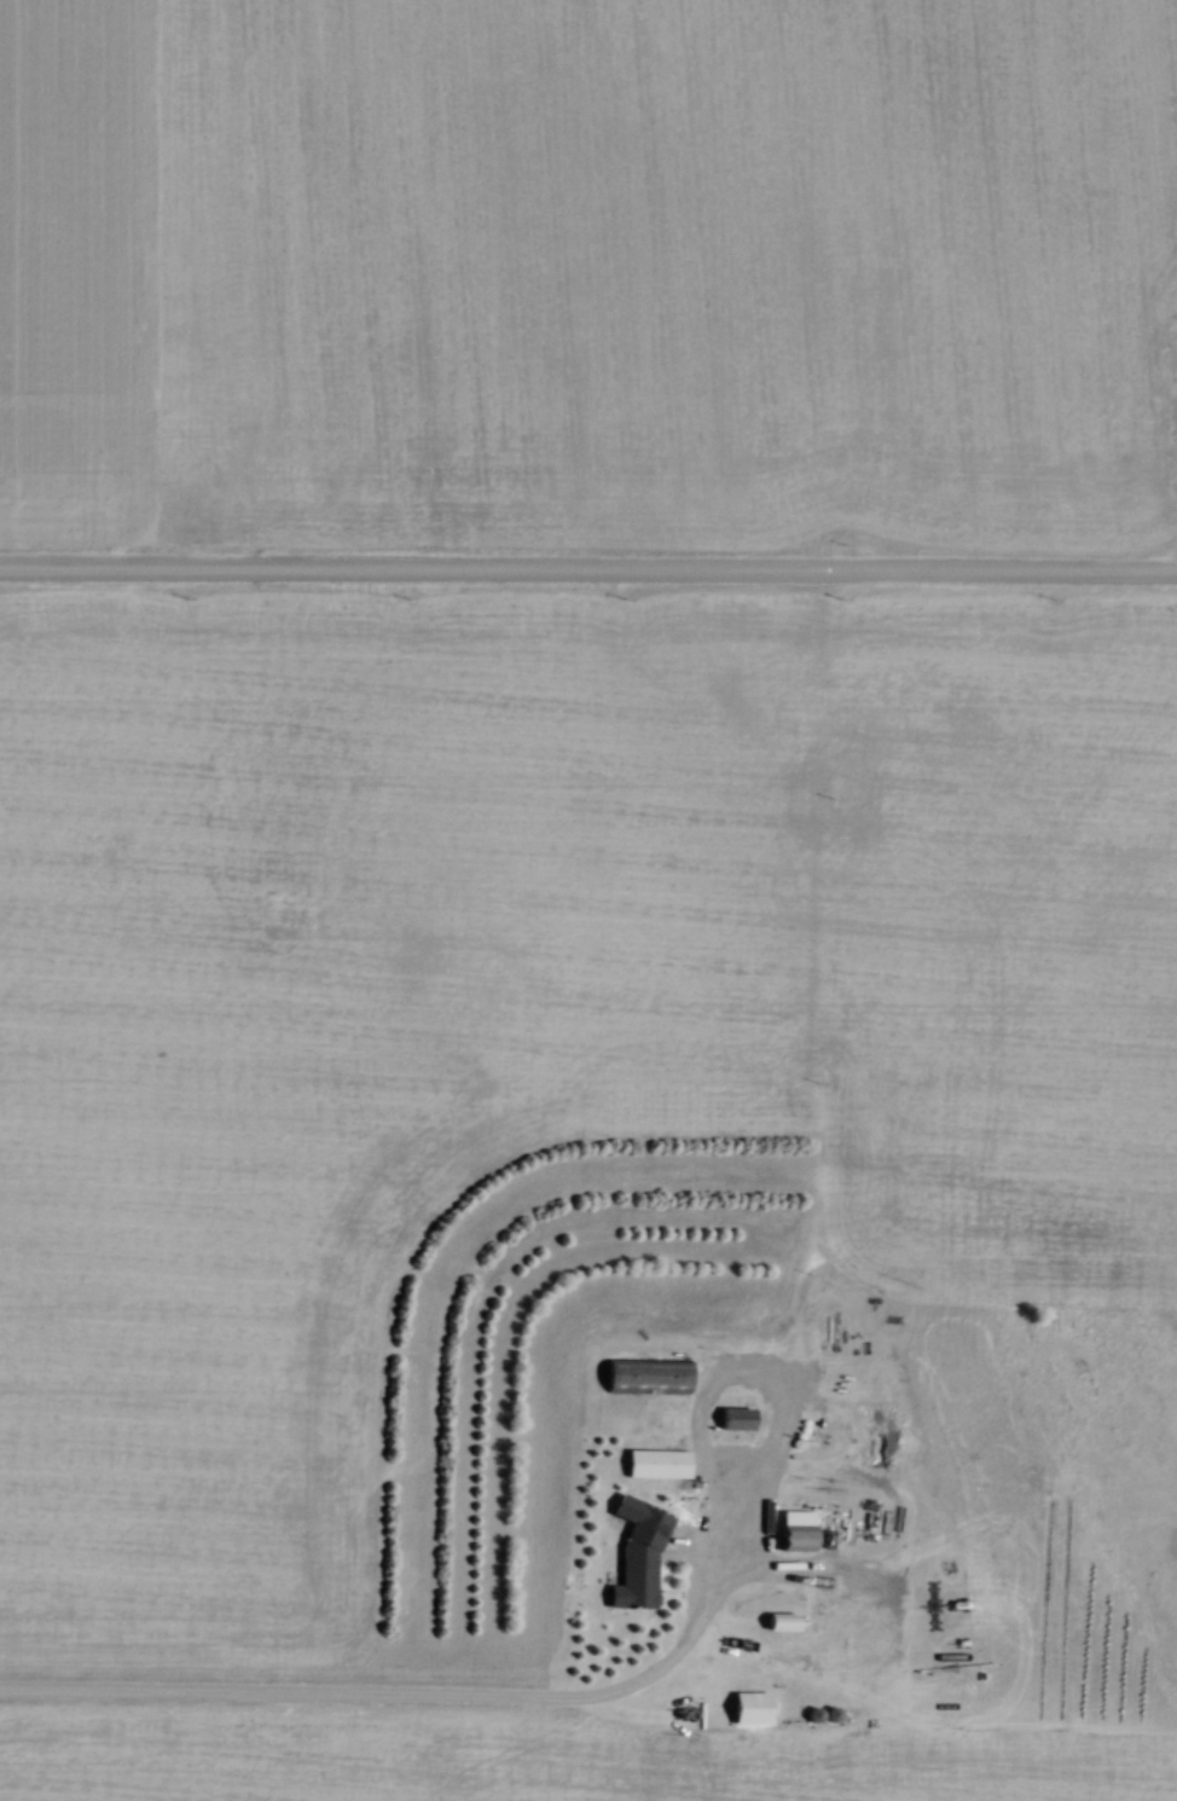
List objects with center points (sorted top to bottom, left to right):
crop: (596, 267)
road: (588, 567)
crop: (578, 1112)
building: (649, 1376)
road: (787, 1413)
building: (737, 1417)
building: (659, 1461)
building: (799, 1527)
building: (634, 1579)
building: (782, 1617)
road: (422, 1695)
building: (750, 1706)
silo: (834, 1712)
silo: (813, 1713)

